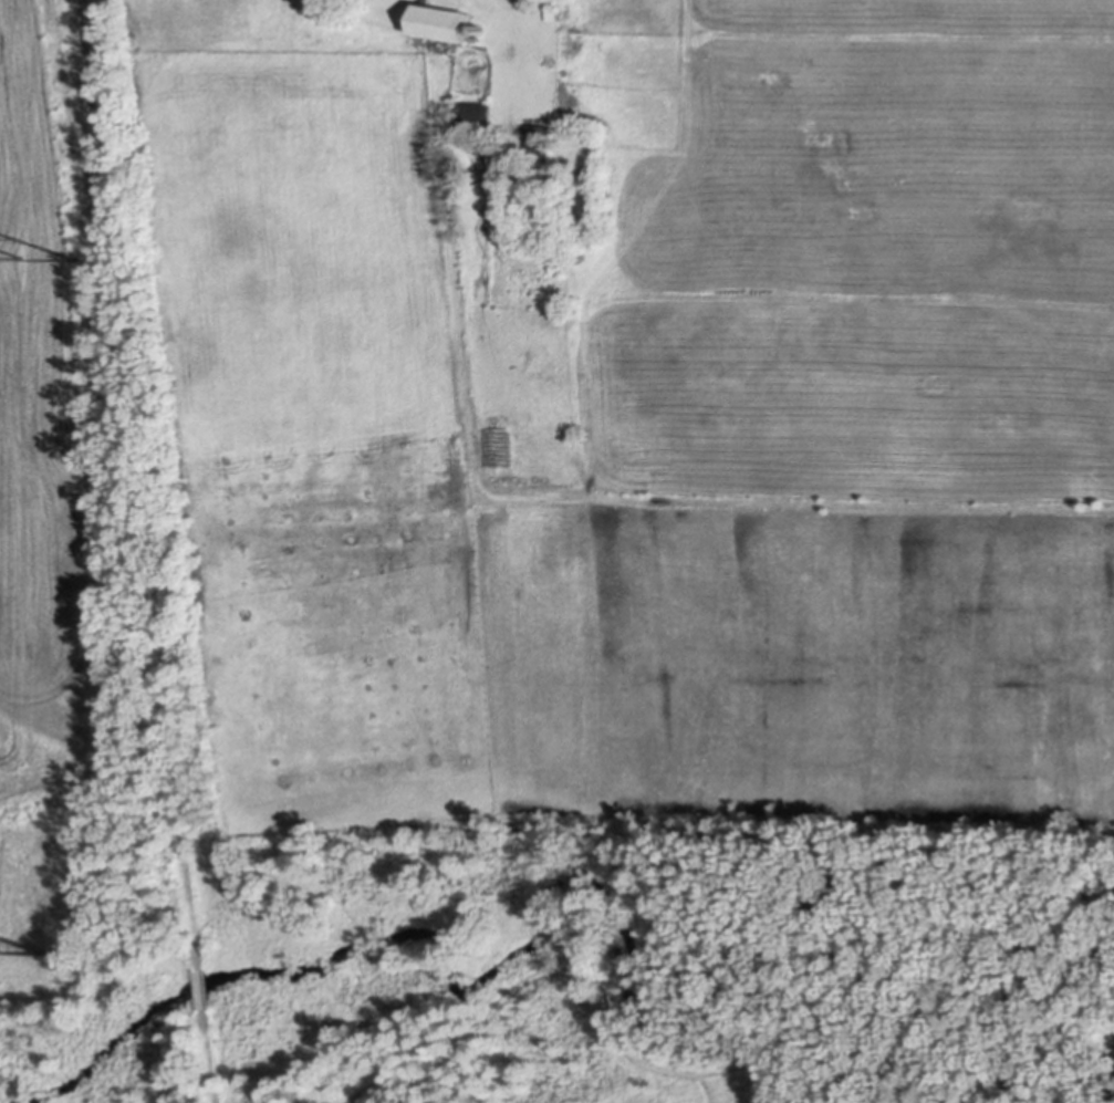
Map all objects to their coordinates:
building: (435, 19)
building: (471, 110)
building: (535, 141)
river: (625, 941)

